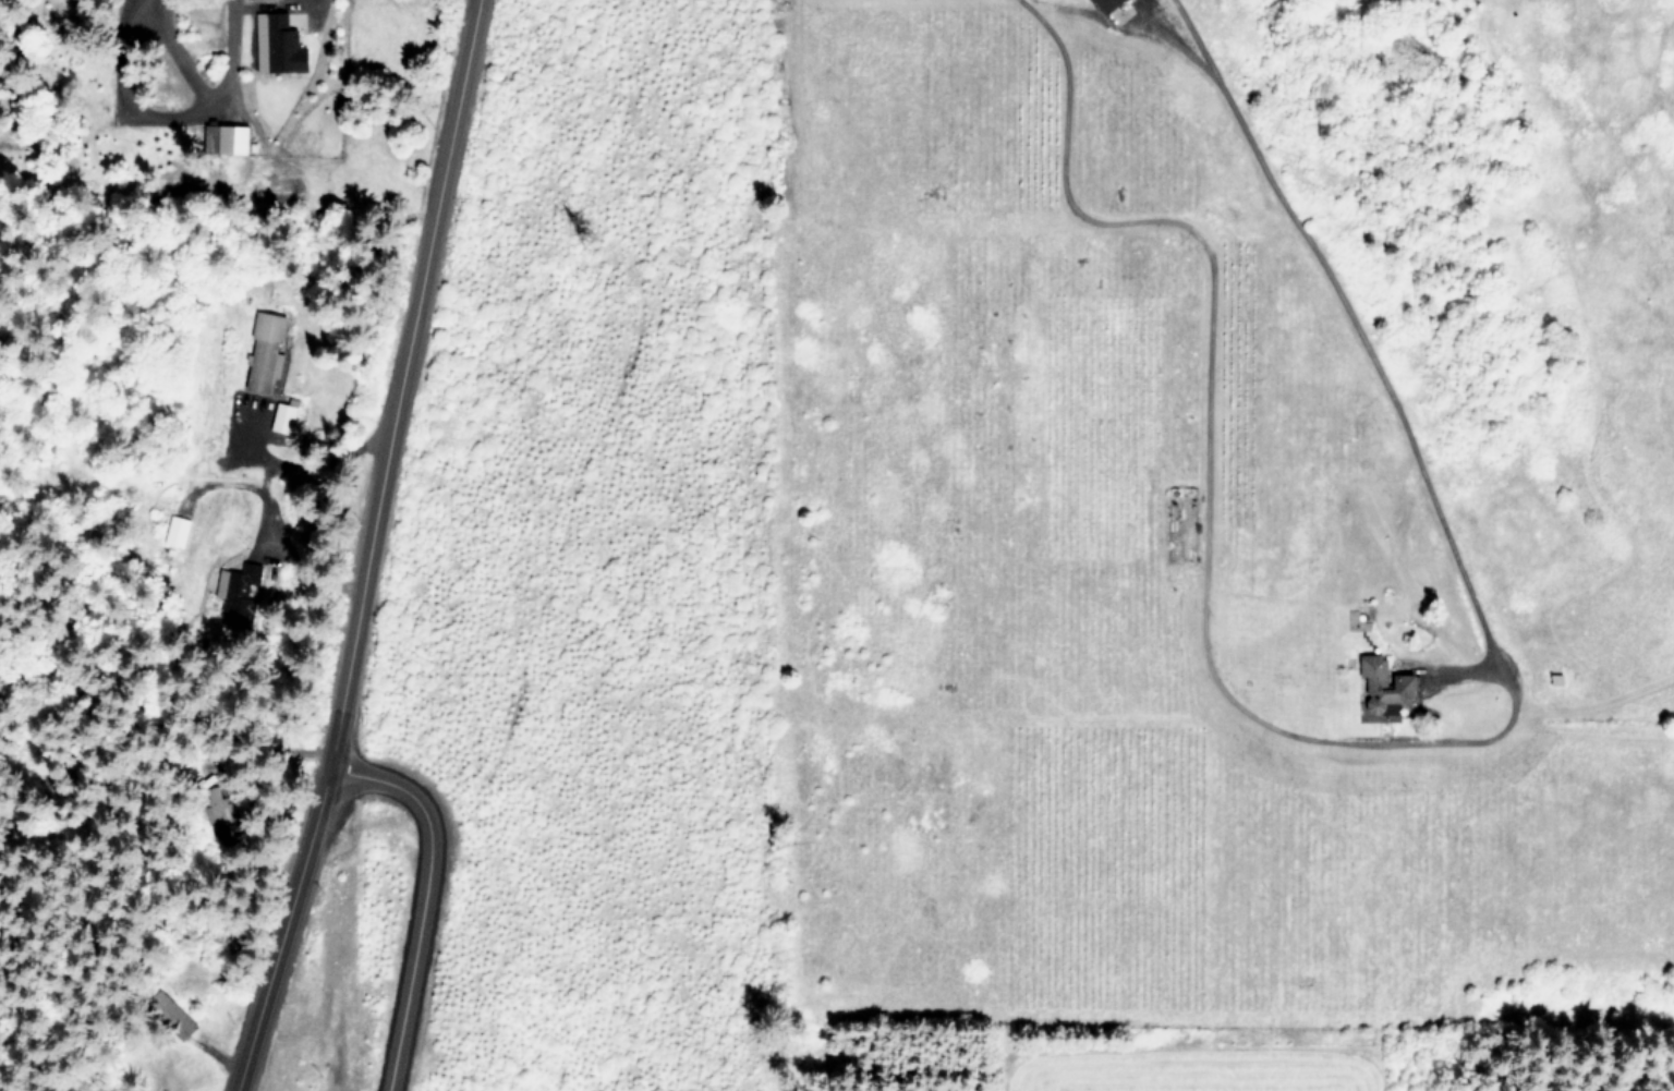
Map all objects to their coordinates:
building: (267, 0)
building: (1108, 4)
building: (279, 44)
building: (228, 137)
building: (265, 350)
road: (1371, 354)
road: (392, 381)
building: (282, 416)
road: (1204, 469)
road: (288, 473)
building: (177, 530)
building: (238, 593)
building: (1379, 686)
road: (418, 897)
road: (272, 928)

